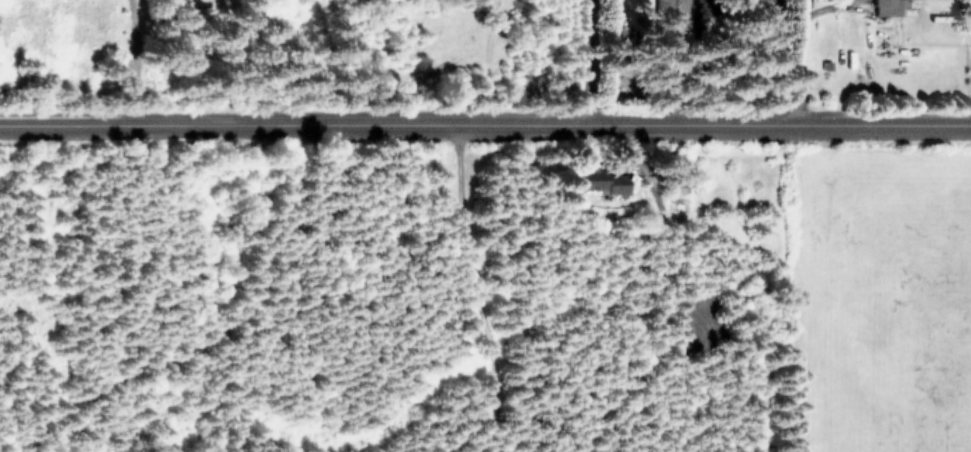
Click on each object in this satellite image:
building: (893, 7)
road: (793, 51)
road: (133, 65)
road: (591, 65)
road: (485, 130)
building: (605, 183)

